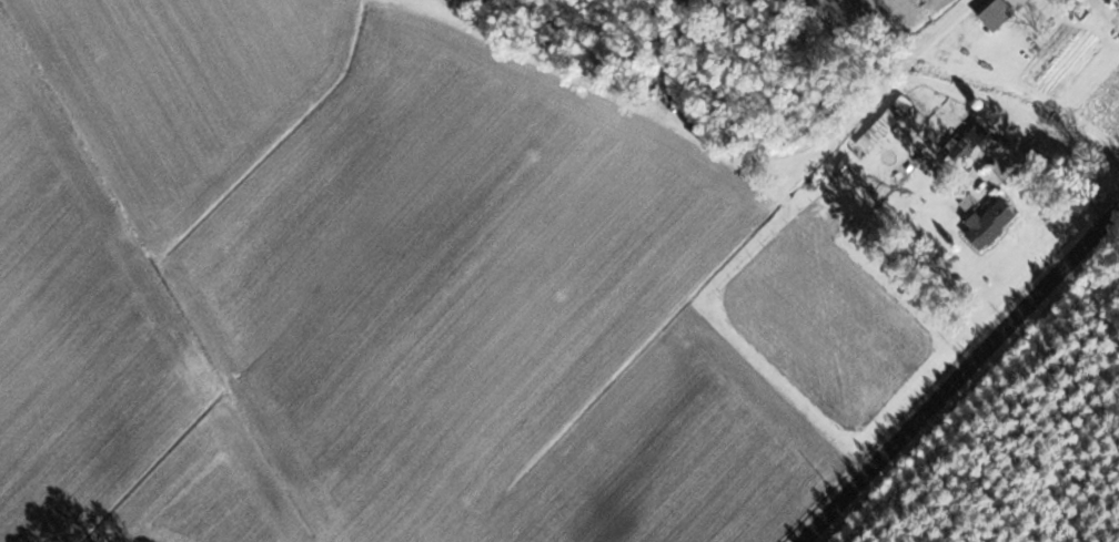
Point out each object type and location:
building: (1010, 1)
building: (987, 223)
road: (959, 372)

